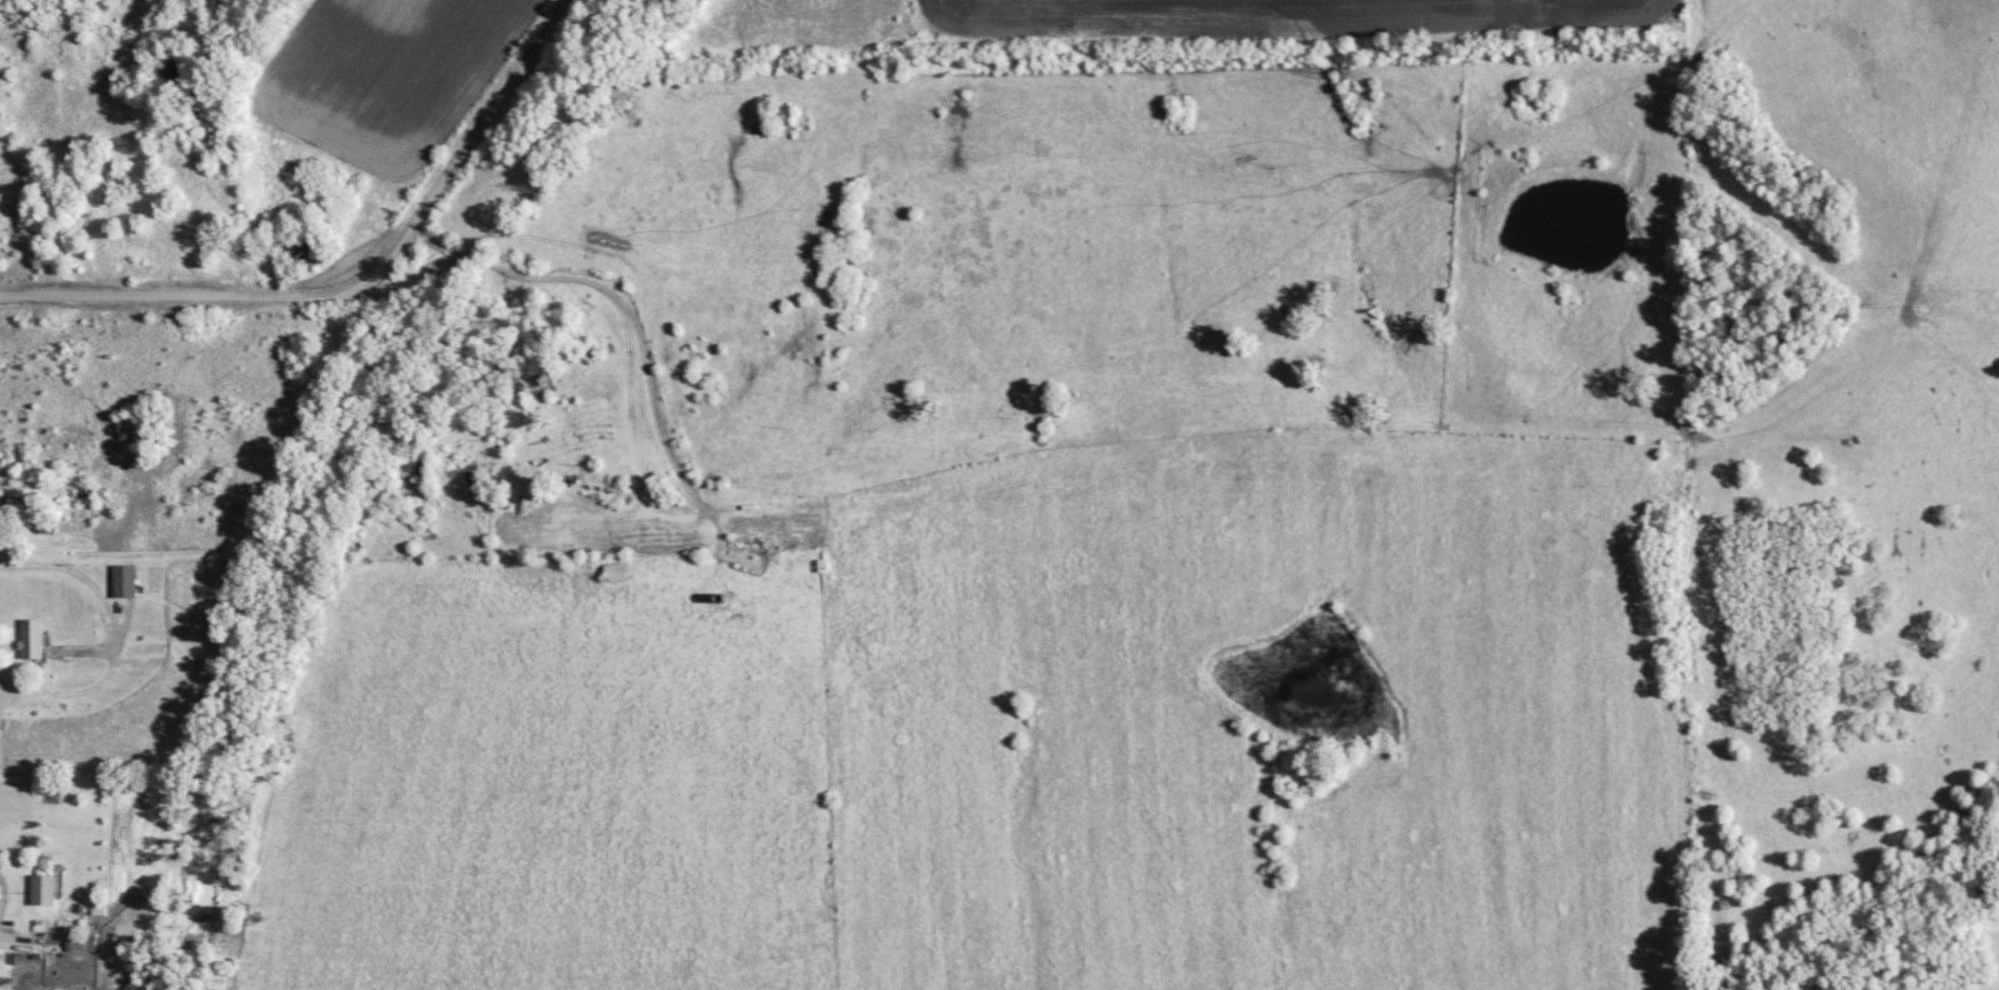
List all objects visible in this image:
building: (301, 251)
road: (355, 282)
road: (643, 341)
building: (540, 390)
building: (412, 465)
building: (85, 494)
building: (613, 571)
building: (123, 581)
road: (102, 592)
building: (30, 639)
road: (0, 881)
building: (42, 890)
road: (25, 933)
building: (79, 943)

